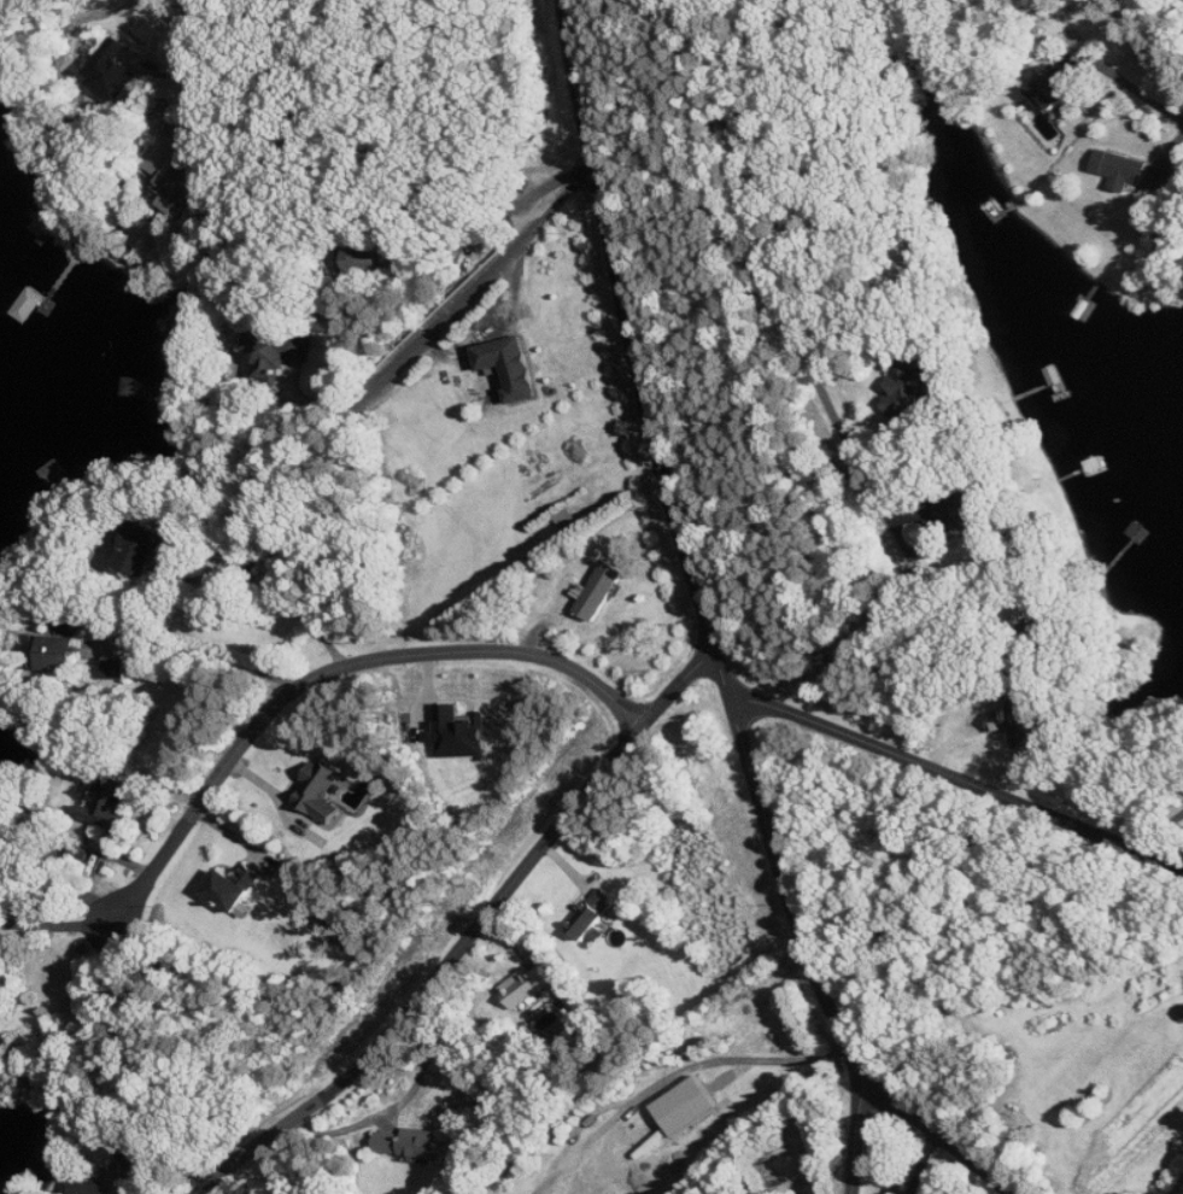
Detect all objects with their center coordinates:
road: (205, 28)
building: (116, 66)
road: (1125, 78)
building: (1055, 89)
building: (164, 121)
building: (1123, 169)
building: (176, 176)
building: (1165, 178)
building: (364, 259)
road: (476, 287)
building: (273, 353)
road: (814, 358)
building: (511, 367)
building: (910, 386)
building: (145, 550)
building: (603, 591)
road: (704, 634)
building: (58, 651)
road: (328, 668)
building: (1015, 724)
building: (463, 732)
road: (944, 775)
building: (322, 791)
building: (112, 803)
building: (235, 888)
building: (593, 914)
road: (54, 925)
road: (464, 942)
building: (528, 985)
road: (678, 1071)
building: (689, 1106)
road: (857, 1130)
building: (409, 1143)
building: (137, 1161)
road: (921, 1161)
building: (93, 1187)

